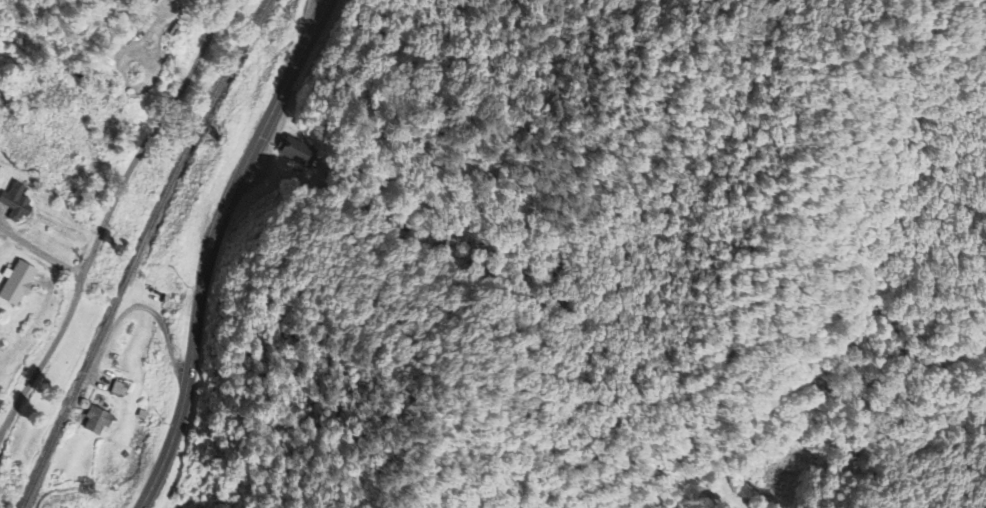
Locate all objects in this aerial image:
building: (294, 151)
river: (31, 200)
building: (16, 203)
road: (106, 214)
road: (212, 246)
road: (40, 251)
railway: (138, 251)
river: (43, 254)
building: (18, 285)
river: (27, 324)
building: (98, 422)

